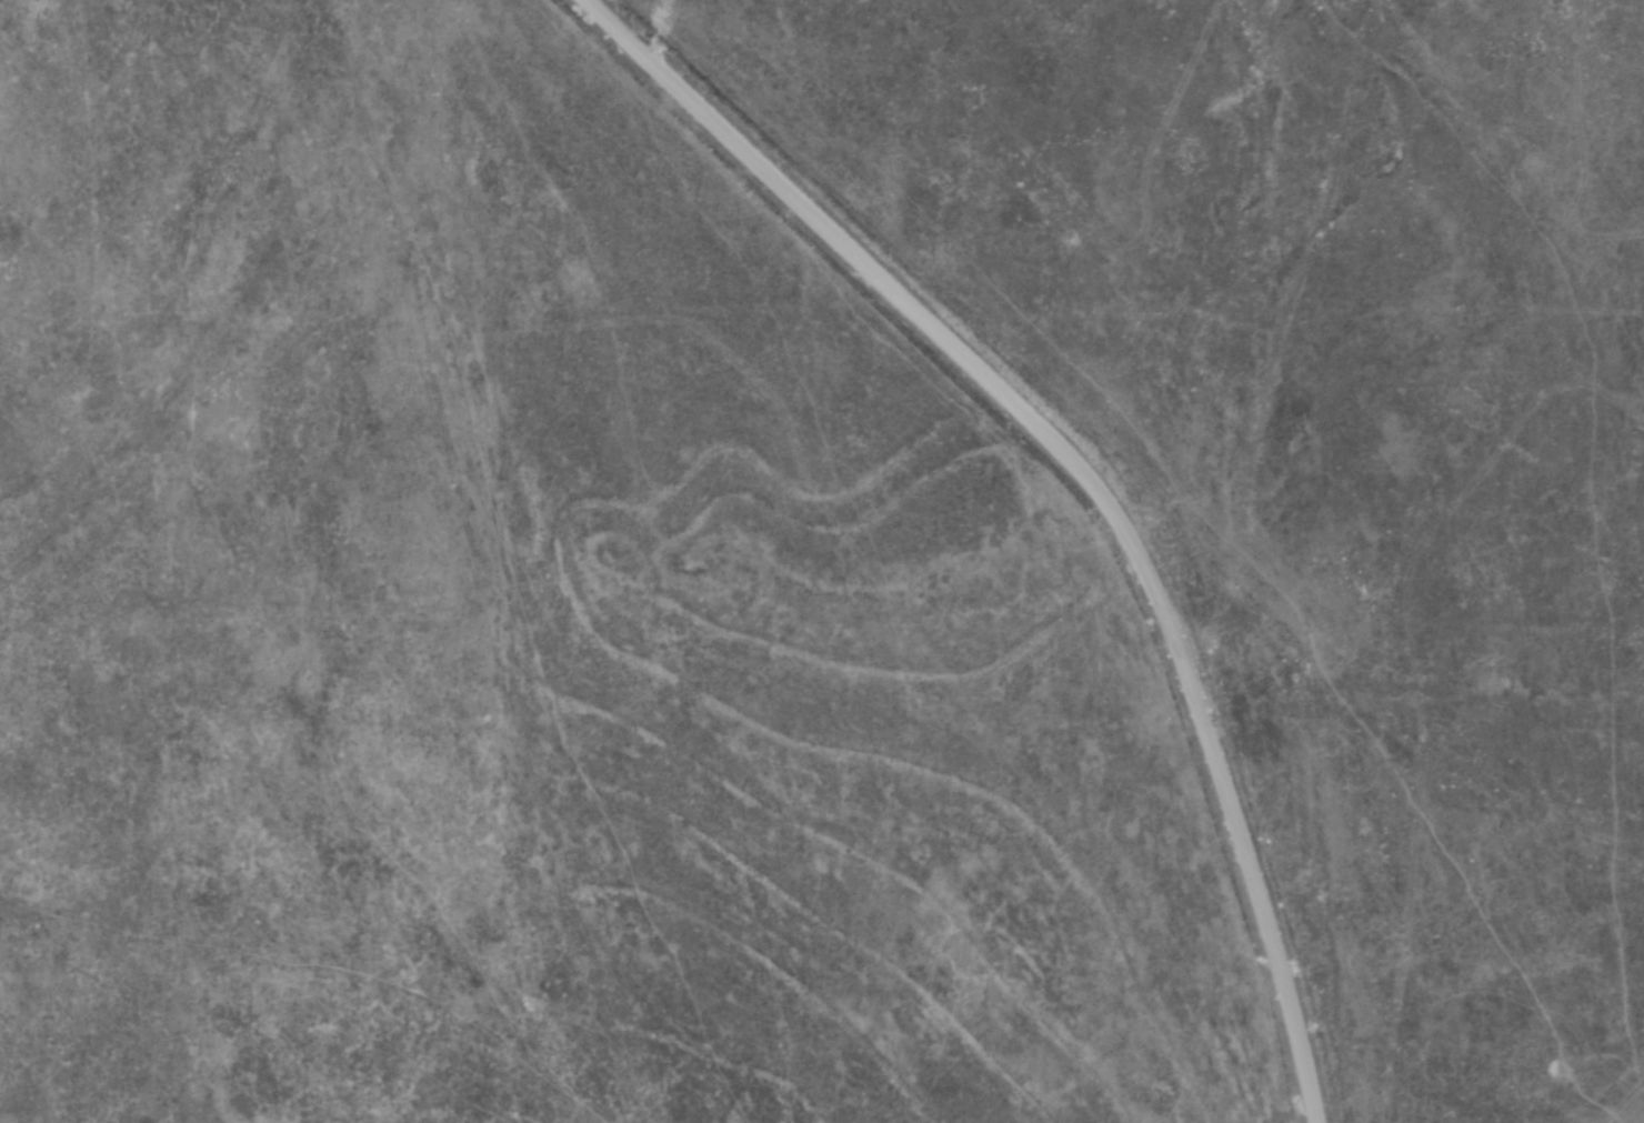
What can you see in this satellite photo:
road: (1090, 477)

